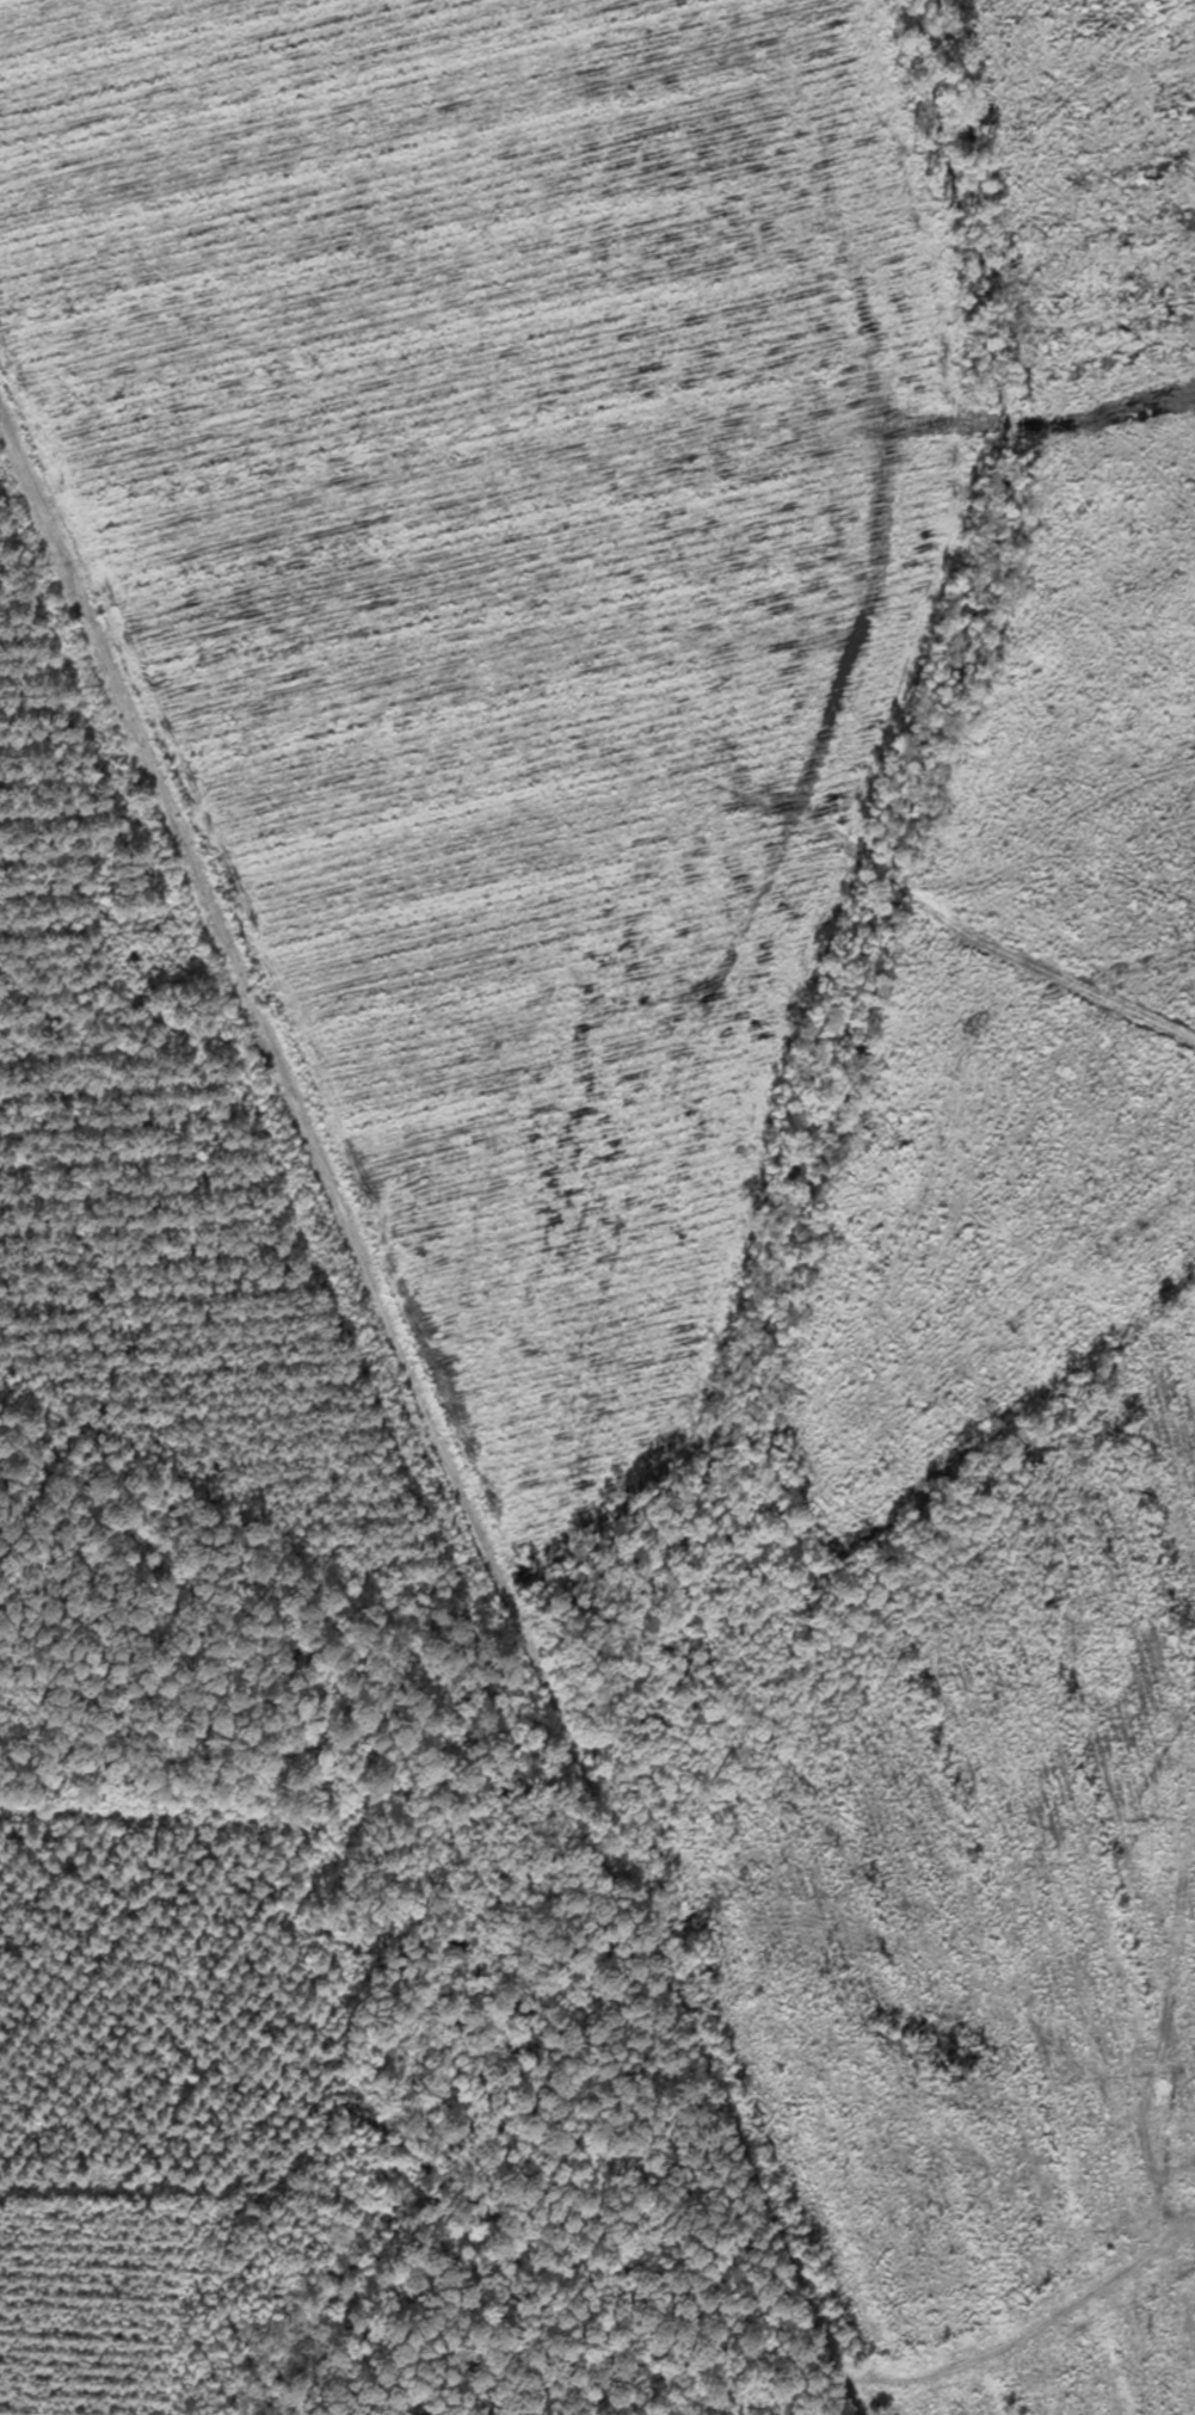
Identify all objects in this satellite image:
road: (442, 1392)

